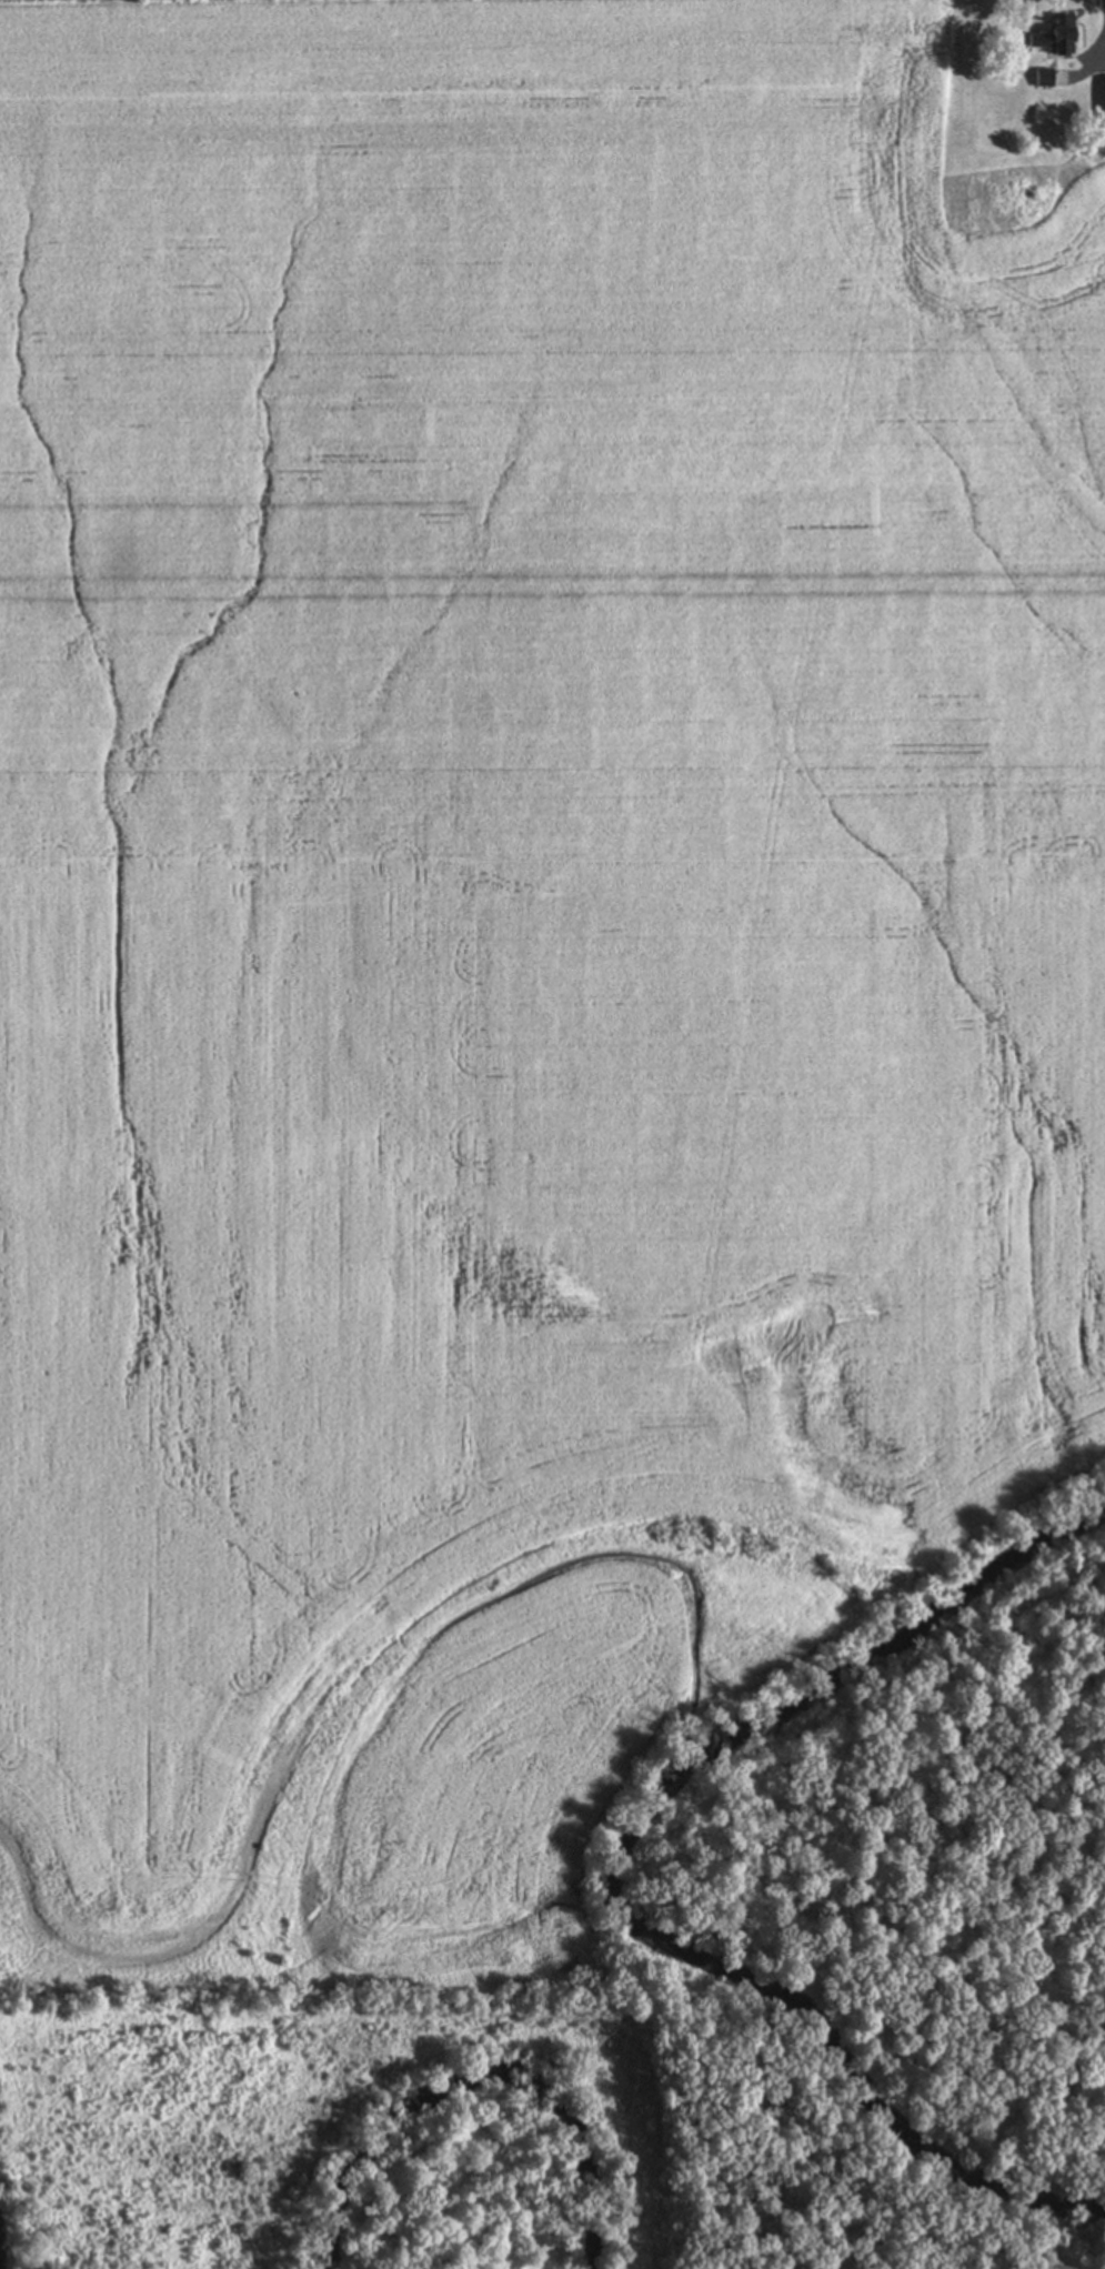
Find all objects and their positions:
building: (1059, 31)
building: (1045, 76)
river: (610, 1877)
river: (473, 2071)

